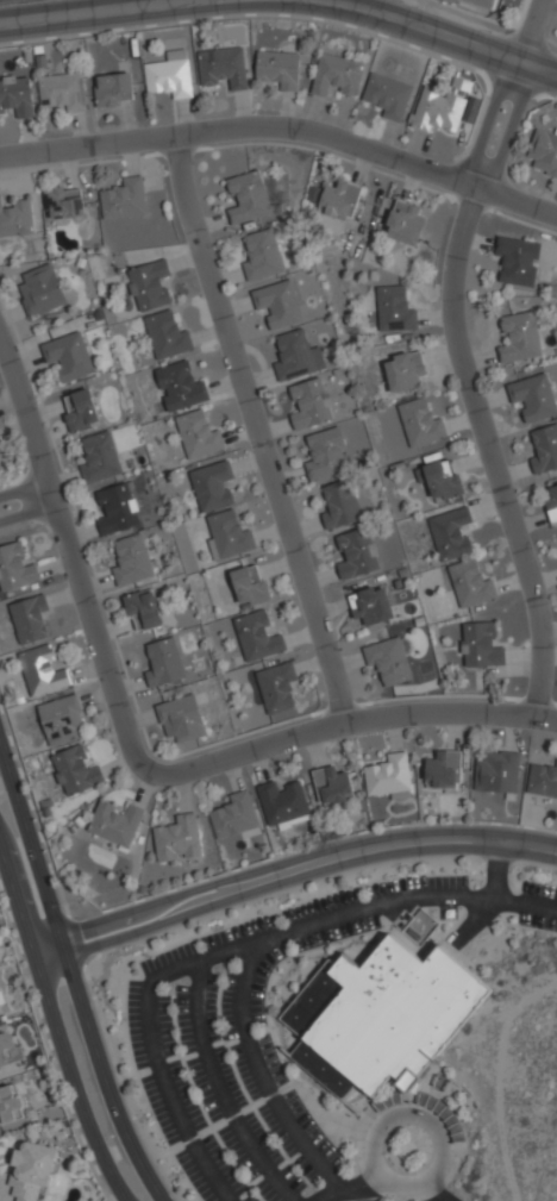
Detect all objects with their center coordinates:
building: (481, 2)
road: (100, 12)
road: (436, 33)
building: (225, 68)
building: (280, 69)
building: (338, 74)
building: (171, 75)
building: (114, 90)
building: (64, 92)
building: (17, 95)
building: (389, 95)
building: (439, 110)
road: (283, 129)
building: (544, 150)
building: (251, 199)
building: (125, 200)
building: (340, 200)
building: (65, 204)
building: (15, 219)
building: (405, 223)
building: (263, 256)
building: (520, 259)
building: (149, 286)
building: (40, 292)
building: (280, 304)
building: (395, 309)
building: (168, 337)
building: (521, 338)
building: (69, 355)
road: (464, 355)
building: (294, 356)
building: (406, 371)
building: (181, 387)
building: (534, 398)
building: (309, 404)
building: (82, 412)
building: (421, 424)
road: (259, 427)
building: (199, 436)
building: (544, 449)
building: (328, 456)
building: (101, 458)
building: (443, 480)
building: (213, 486)
road: (24, 489)
building: (552, 505)
building: (342, 506)
building: (118, 511)
road: (27, 514)
building: (452, 533)
building: (227, 536)
building: (358, 553)
building: (132, 562)
building: (15, 568)
building: (471, 583)
building: (250, 586)
building: (373, 605)
building: (143, 611)
building: (30, 618)
building: (258, 637)
building: (482, 646)
building: (389, 661)
building: (165, 663)
building: (43, 673)
building: (277, 687)
building: (61, 720)
building: (181, 723)
road: (133, 753)
building: (444, 770)
building: (76, 771)
building: (499, 772)
building: (389, 776)
building: (543, 781)
building: (333, 786)
building: (284, 805)
building: (236, 817)
building: (117, 824)
building: (179, 839)
road: (396, 840)
street lamp: (430, 864)
street lamp: (483, 882)
street lamp: (352, 888)
parking lot: (539, 890)
road: (493, 899)
road: (136, 905)
street lamp: (295, 905)
parking lot: (448, 913)
street lamp: (501, 917)
parking lot: (538, 922)
road: (142, 924)
street lamp: (225, 927)
street lamp: (343, 944)
road: (236, 949)
street lamp: (152, 957)
road: (73, 975)
street lamp: (283, 976)
street lamp: (218, 1009)
building: (381, 1018)
building: (0, 1019)
road: (56, 1021)
street lamp: (123, 1024)
building: (10, 1051)
road: (264, 1083)
street lamp: (139, 1087)
street lamp: (242, 1087)
road: (220, 1090)
building: (11, 1103)
street lamp: (167, 1147)
street lamp: (280, 1150)
building: (32, 1170)
road: (406, 1187)
road: (352, 1188)
road: (428, 1193)
street lamp: (456, 1194)
street lamp: (196, 1195)

